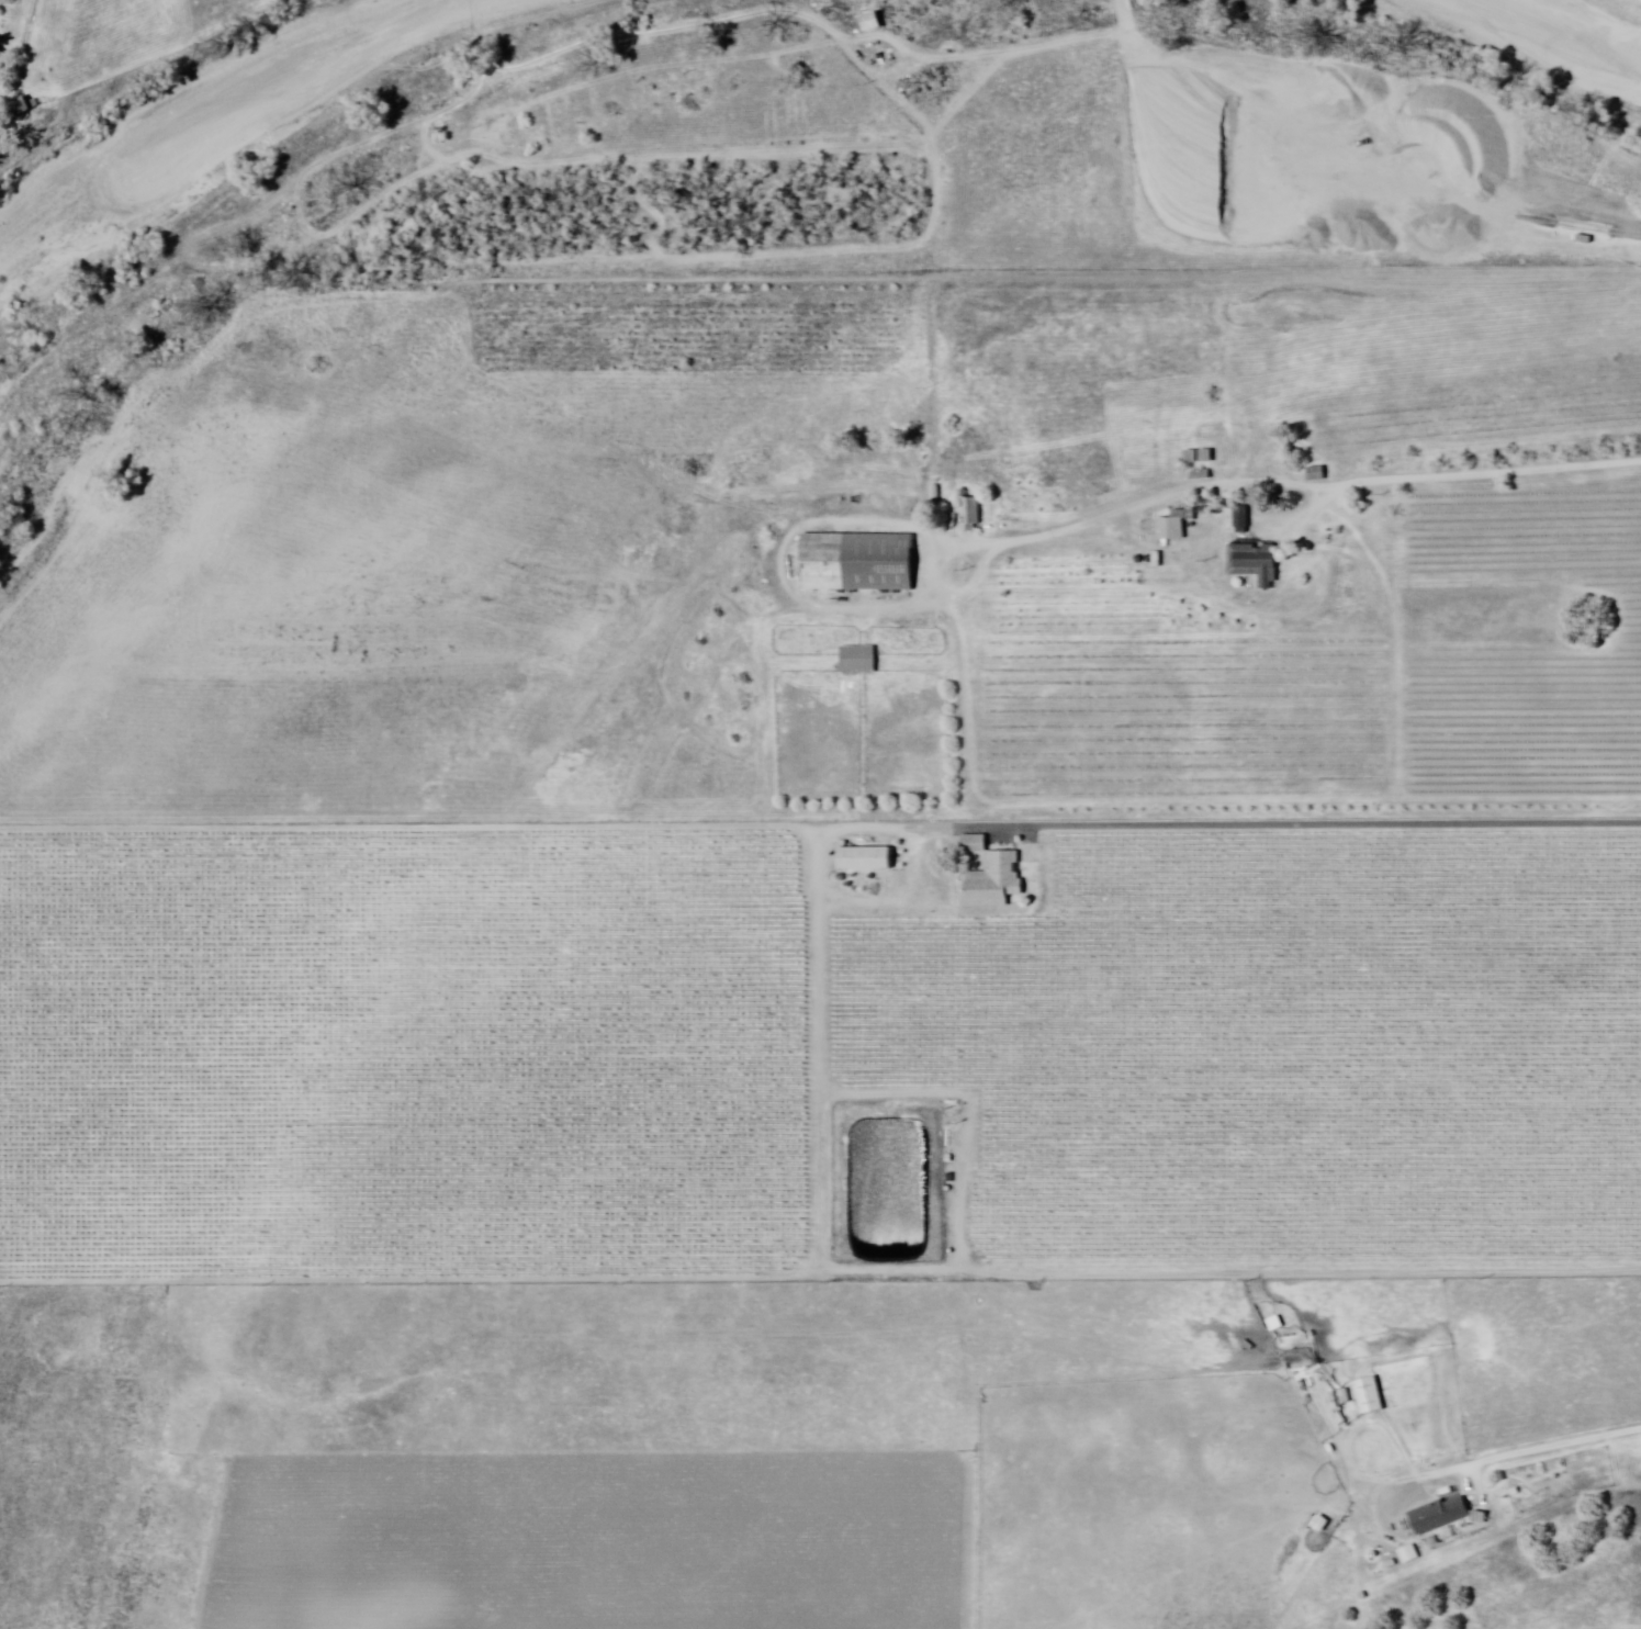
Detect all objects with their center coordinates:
river: (1608, 20)
building: (873, 21)
building: (4, 65)
river: (317, 89)
building: (1207, 456)
building: (1192, 457)
building: (1318, 473)
road: (1458, 473)
building: (936, 493)
building: (971, 515)
building: (1241, 518)
building: (956, 519)
building: (1176, 526)
building: (856, 562)
building: (1262, 563)
building: (862, 661)
building: (869, 860)
building: (993, 878)
building: (1368, 1395)
road: (1554, 1448)
building: (1438, 1517)
building: (1407, 1555)

